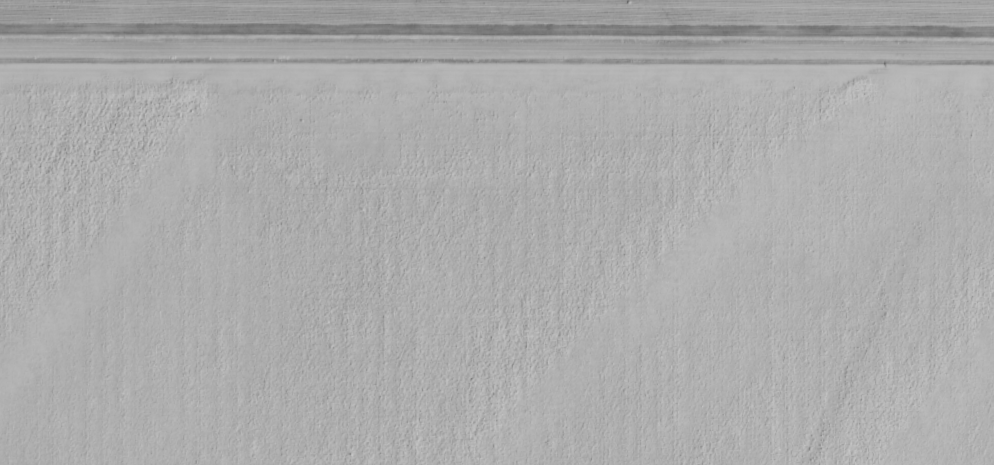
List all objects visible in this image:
road: (497, 47)

